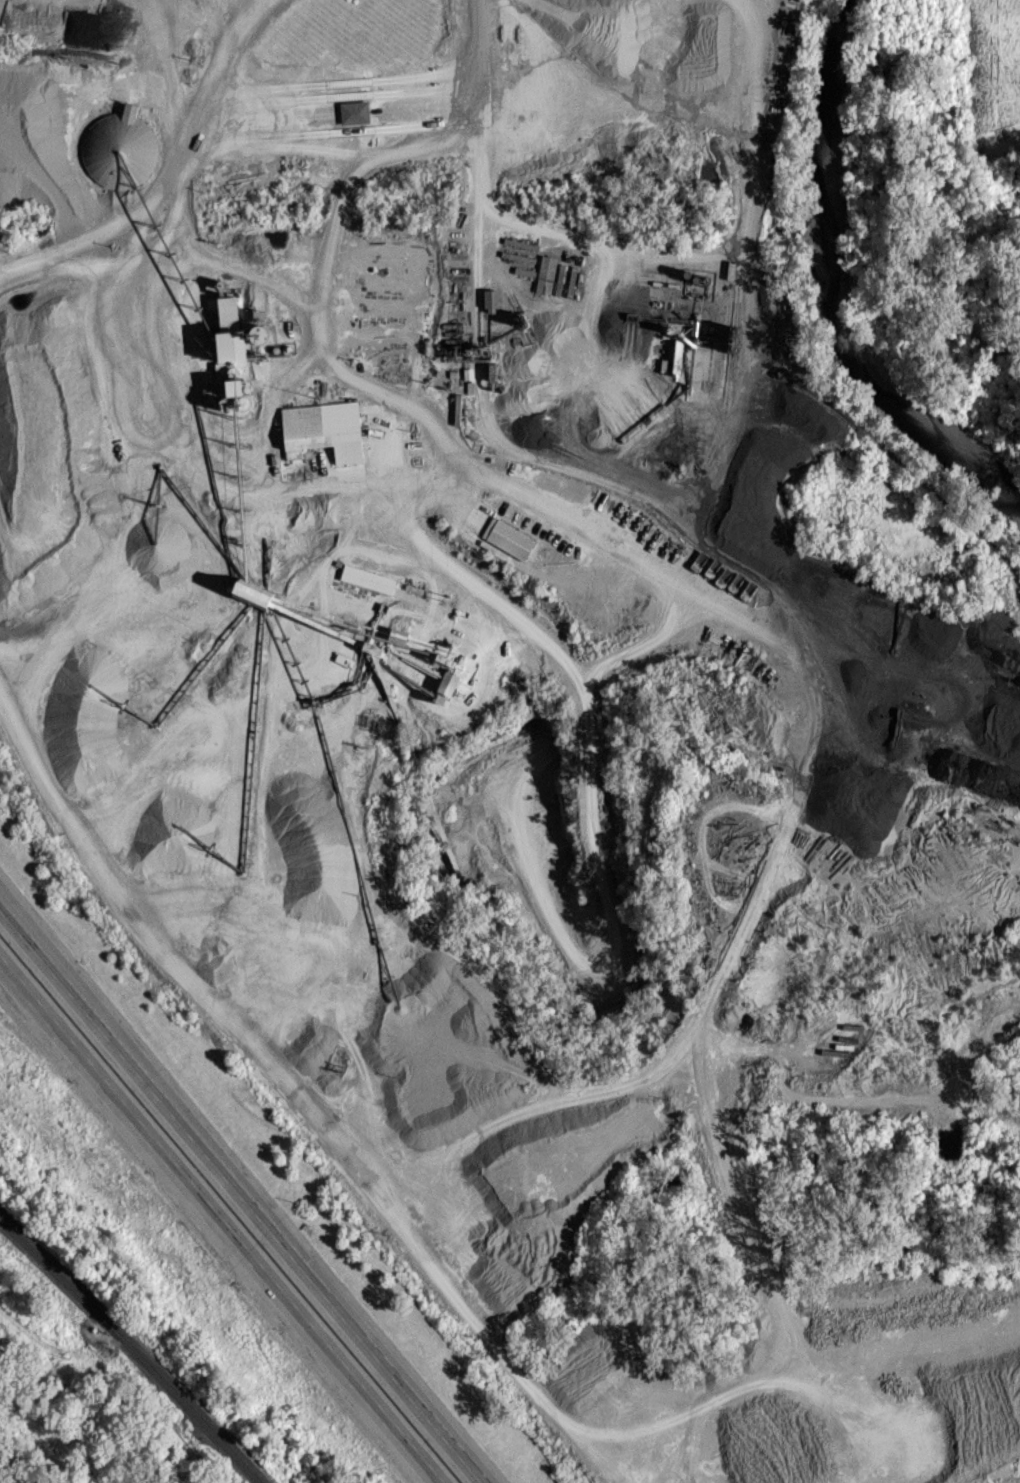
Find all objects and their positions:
road: (477, 35)
building: (354, 111)
building: (120, 148)
building: (546, 273)
building: (491, 300)
building: (230, 329)
building: (323, 429)
building: (508, 537)
building: (368, 578)
quarry: (498, 660)
road: (4, 915)
road: (238, 1197)
road: (221, 1219)
railway: (131, 1348)

